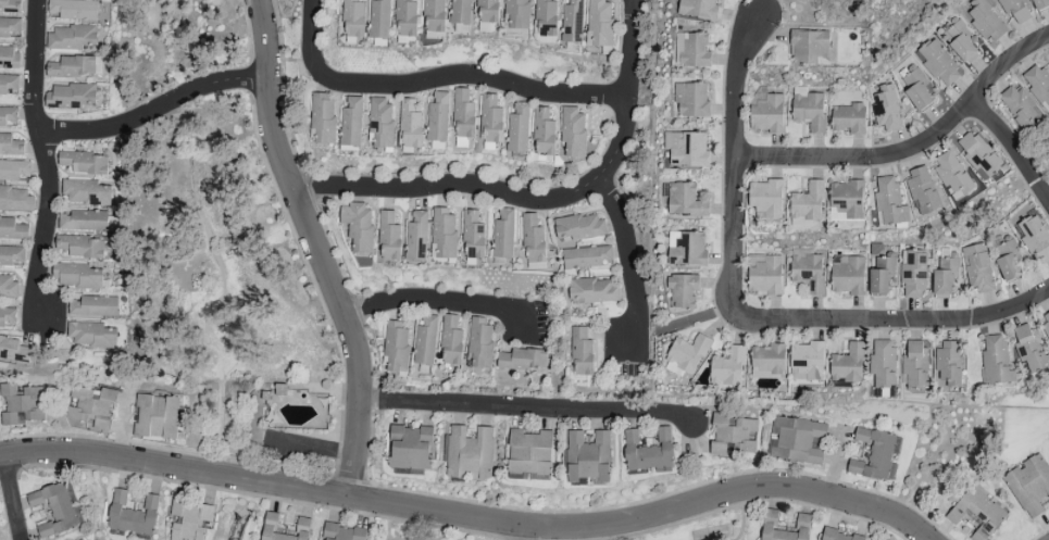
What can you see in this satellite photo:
road: (316, 3)
building: (1040, 4)
building: (10, 5)
building: (698, 9)
building: (72, 10)
building: (1015, 10)
building: (487, 11)
building: (461, 12)
building: (516, 13)
building: (434, 15)
building: (546, 17)
building: (353, 18)
building: (379, 18)
building: (405, 18)
building: (985, 20)
building: (572, 21)
building: (599, 22)
building: (10, 28)
building: (71, 37)
building: (961, 43)
building: (808, 46)
building: (695, 50)
building: (8, 56)
building: (938, 64)
building: (72, 67)
road: (440, 77)
building: (1038, 84)
building: (9, 85)
building: (916, 90)
building: (70, 96)
building: (691, 100)
building: (1017, 105)
road: (159, 108)
building: (886, 110)
building: (809, 111)
building: (463, 115)
building: (767, 115)
building: (8, 117)
building: (438, 117)
building: (323, 118)
building: (848, 118)
building: (351, 121)
building: (491, 121)
building: (380, 123)
building: (410, 125)
building: (519, 128)
building: (573, 130)
building: (544, 133)
building: (10, 146)
road: (1013, 147)
building: (688, 150)
road: (911, 150)
building: (978, 154)
road: (45, 155)
building: (84, 163)
building: (13, 169)
building: (952, 174)
building: (922, 191)
building: (85, 192)
building: (766, 198)
building: (15, 199)
building: (847, 200)
road: (542, 201)
building: (682, 201)
building: (808, 202)
building: (889, 202)
building: (83, 221)
building: (358, 226)
building: (579, 227)
building: (12, 229)
building: (444, 233)
building: (502, 234)
building: (415, 236)
building: (472, 236)
building: (389, 237)
building: (1034, 238)
building: (532, 240)
building: (82, 247)
road: (317, 248)
building: (686, 249)
building: (11, 256)
building: (585, 256)
building: (1006, 256)
road: (630, 259)
building: (976, 268)
building: (879, 271)
building: (807, 273)
building: (847, 275)
building: (912, 275)
building: (77, 277)
building: (765, 277)
building: (944, 278)
building: (8, 285)
building: (592, 290)
building: (683, 291)
road: (437, 299)
building: (93, 306)
road: (746, 312)
building: (7, 317)
road: (689, 319)
building: (1045, 323)
building: (92, 335)
building: (425, 339)
building: (451, 341)
building: (479, 342)
building: (396, 346)
building: (13, 349)
building: (1029, 349)
building: (582, 352)
building: (687, 353)
building: (767, 359)
building: (522, 360)
building: (996, 361)
building: (807, 362)
building: (882, 363)
building: (948, 363)
building: (848, 364)
building: (914, 365)
building: (728, 369)
building: (21, 404)
road: (527, 406)
building: (90, 407)
building: (155, 417)
building: (732, 435)
building: (796, 440)
building: (410, 448)
building: (648, 451)
building: (529, 453)
building: (469, 454)
building: (876, 455)
building: (588, 457)
road: (833, 467)
building: (1029, 485)
road: (12, 499)
building: (55, 511)
building: (977, 513)
building: (132, 515)
building: (188, 519)
road: (470, 520)
building: (784, 527)
building: (284, 528)
building: (342, 532)
road: (519, 535)
building: (838, 536)

